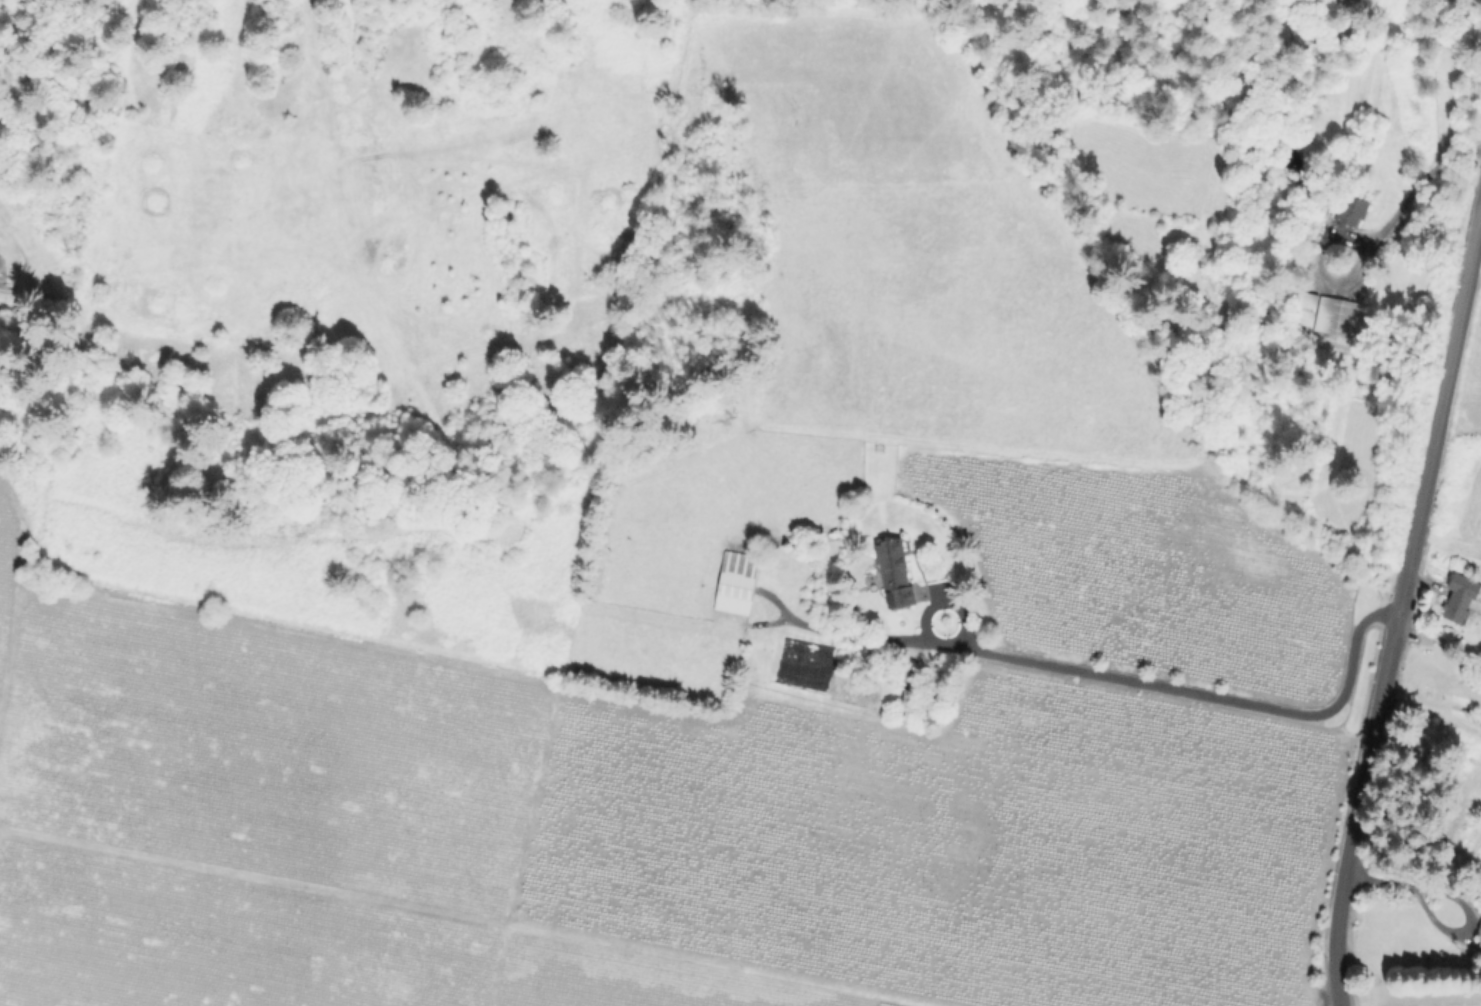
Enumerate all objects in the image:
road: (1412, 196)
building: (1351, 211)
building: (1334, 314)
building: (896, 574)
building: (737, 584)
building: (1462, 597)
road: (1401, 607)
building: (864, 652)
road: (1198, 696)
road: (1432, 713)
road: (1450, 897)
road: (473, 915)
building: (1478, 929)
building: (1480, 943)

